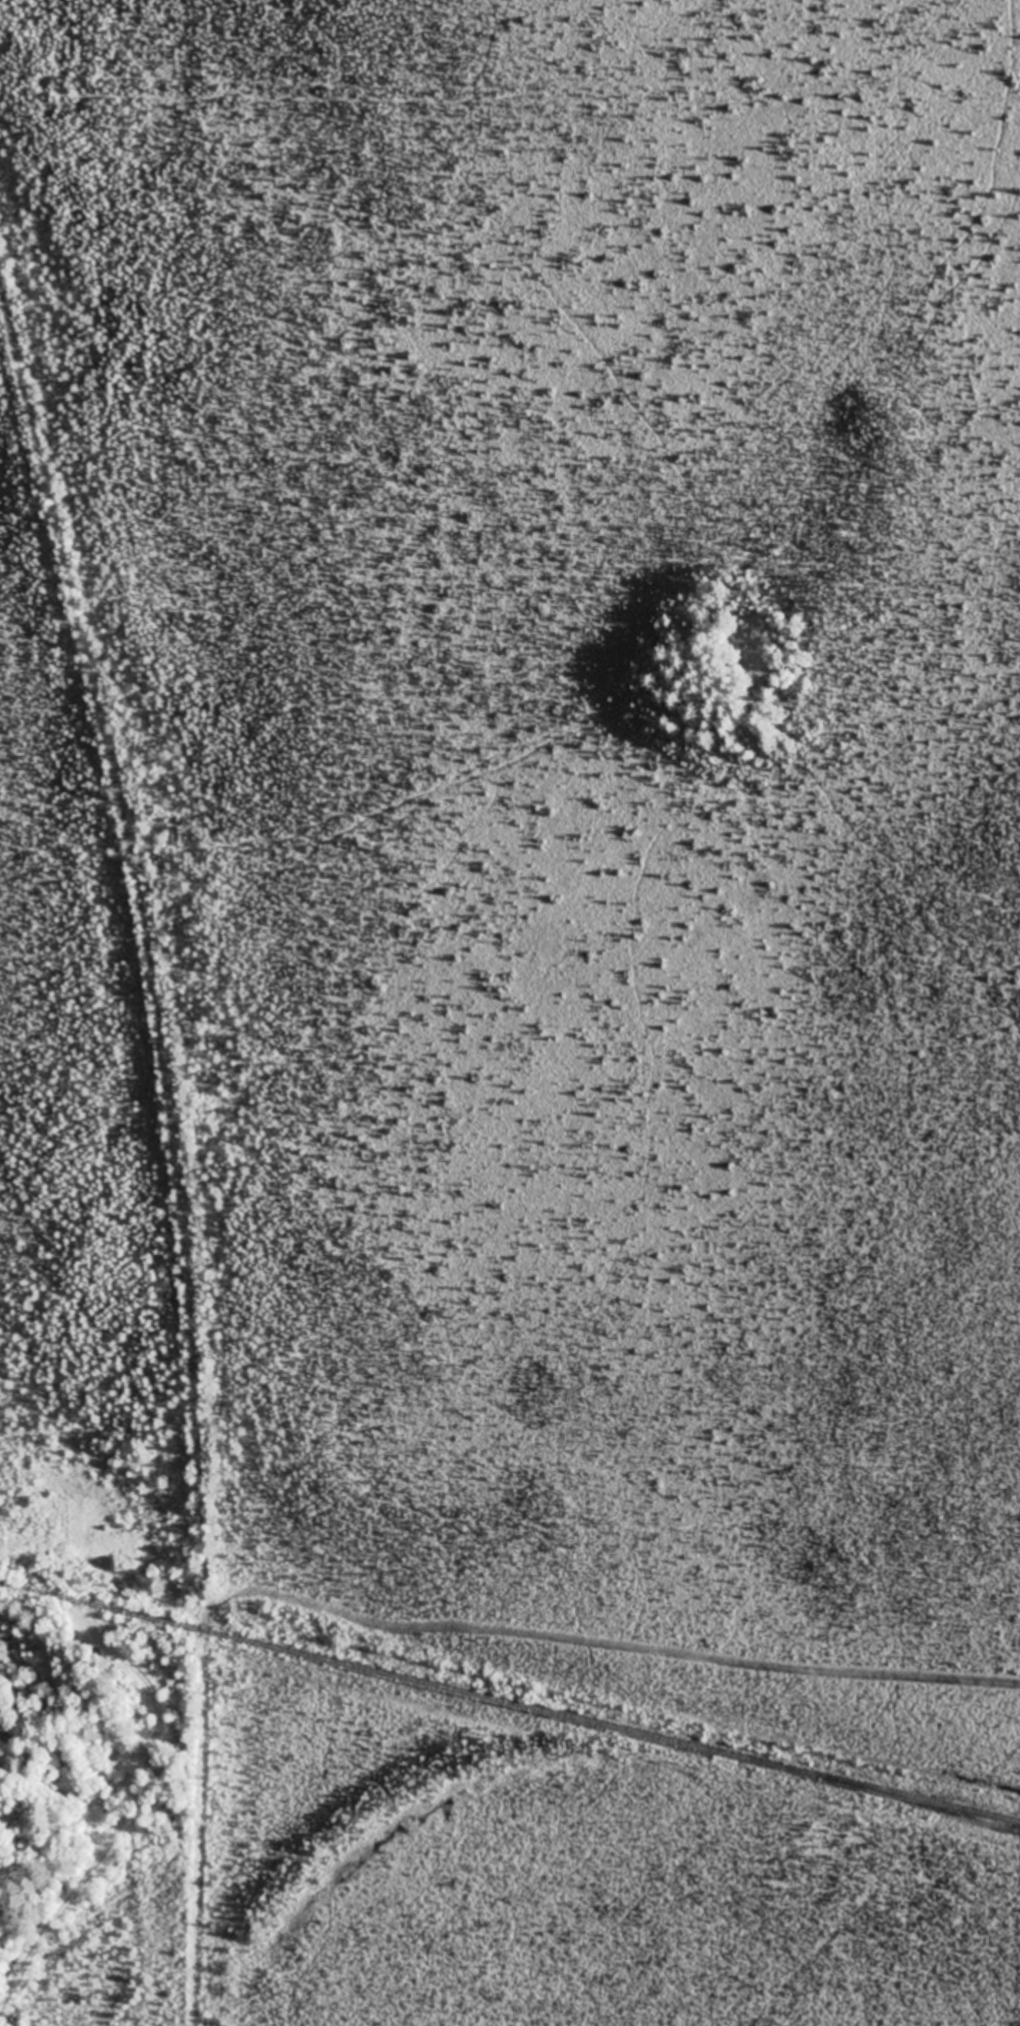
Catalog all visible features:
railway: (510, 1703)
road: (134, 1814)

